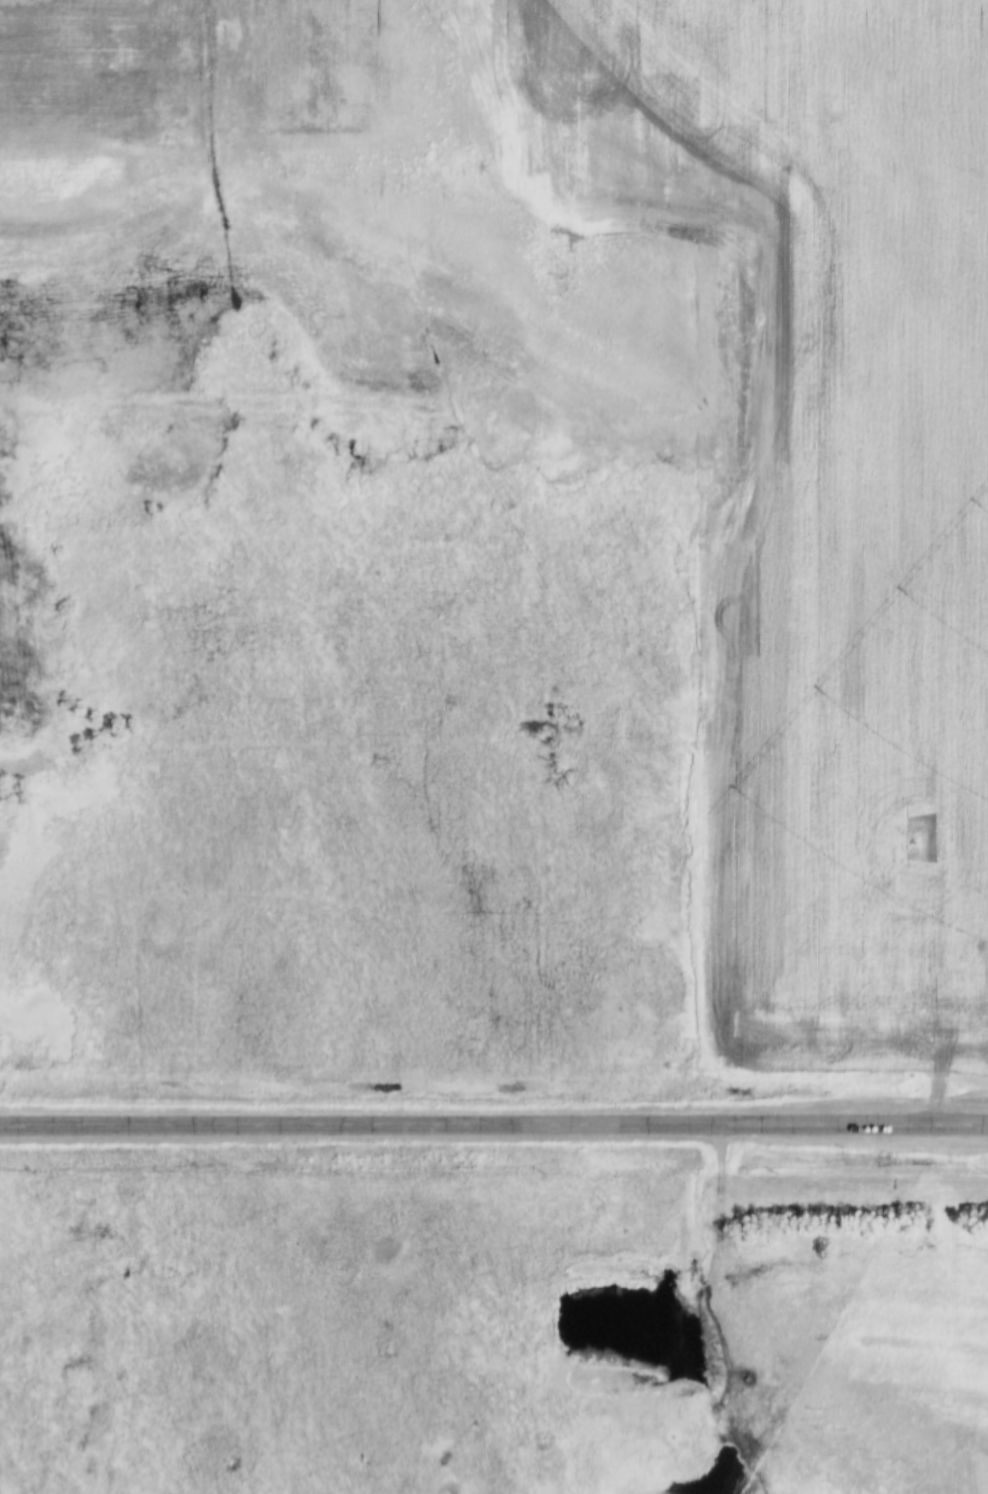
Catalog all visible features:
road: (494, 1129)

